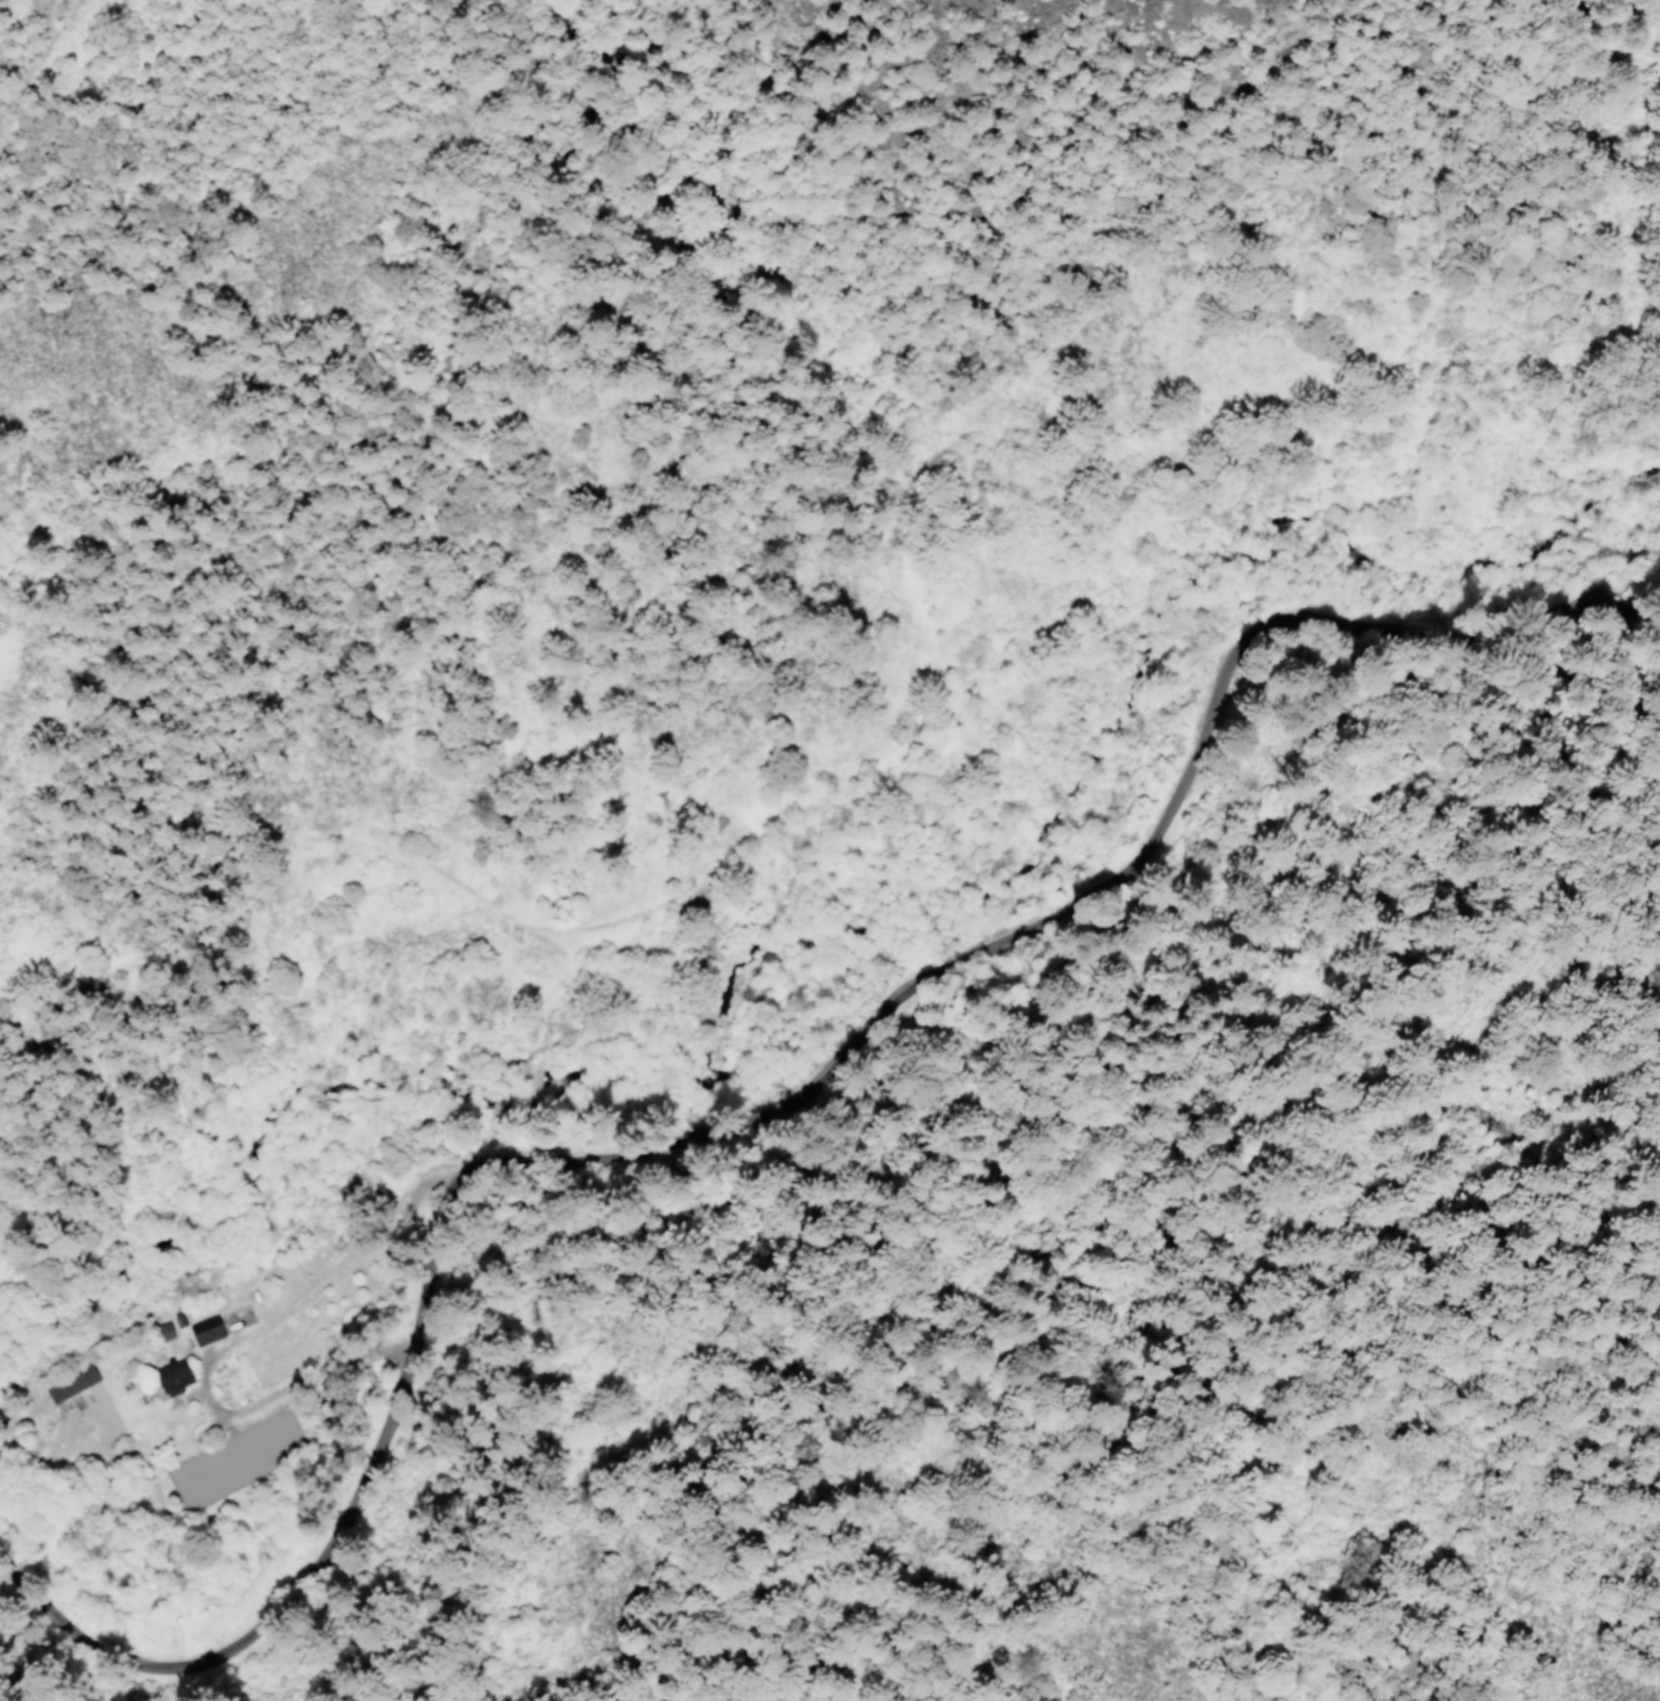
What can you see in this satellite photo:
road: (40, 48)
road: (1334, 433)
road: (806, 804)
road: (759, 1109)
road: (285, 1312)
building: (215, 1336)
building: (174, 1337)
building: (184, 1385)
building: (78, 1388)

